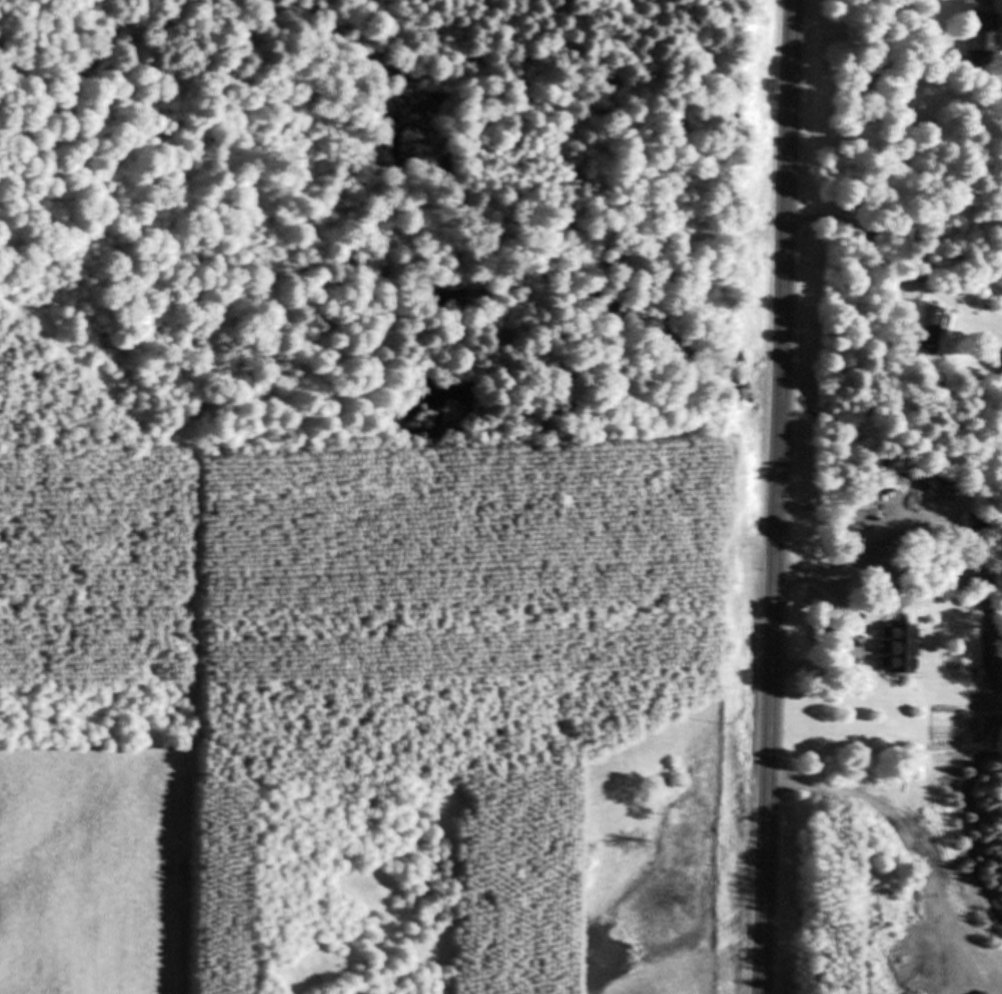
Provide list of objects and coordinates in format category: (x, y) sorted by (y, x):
building: (981, 37)
building: (929, 331)
road: (778, 496)
building: (886, 562)
road: (855, 627)
building: (896, 651)

